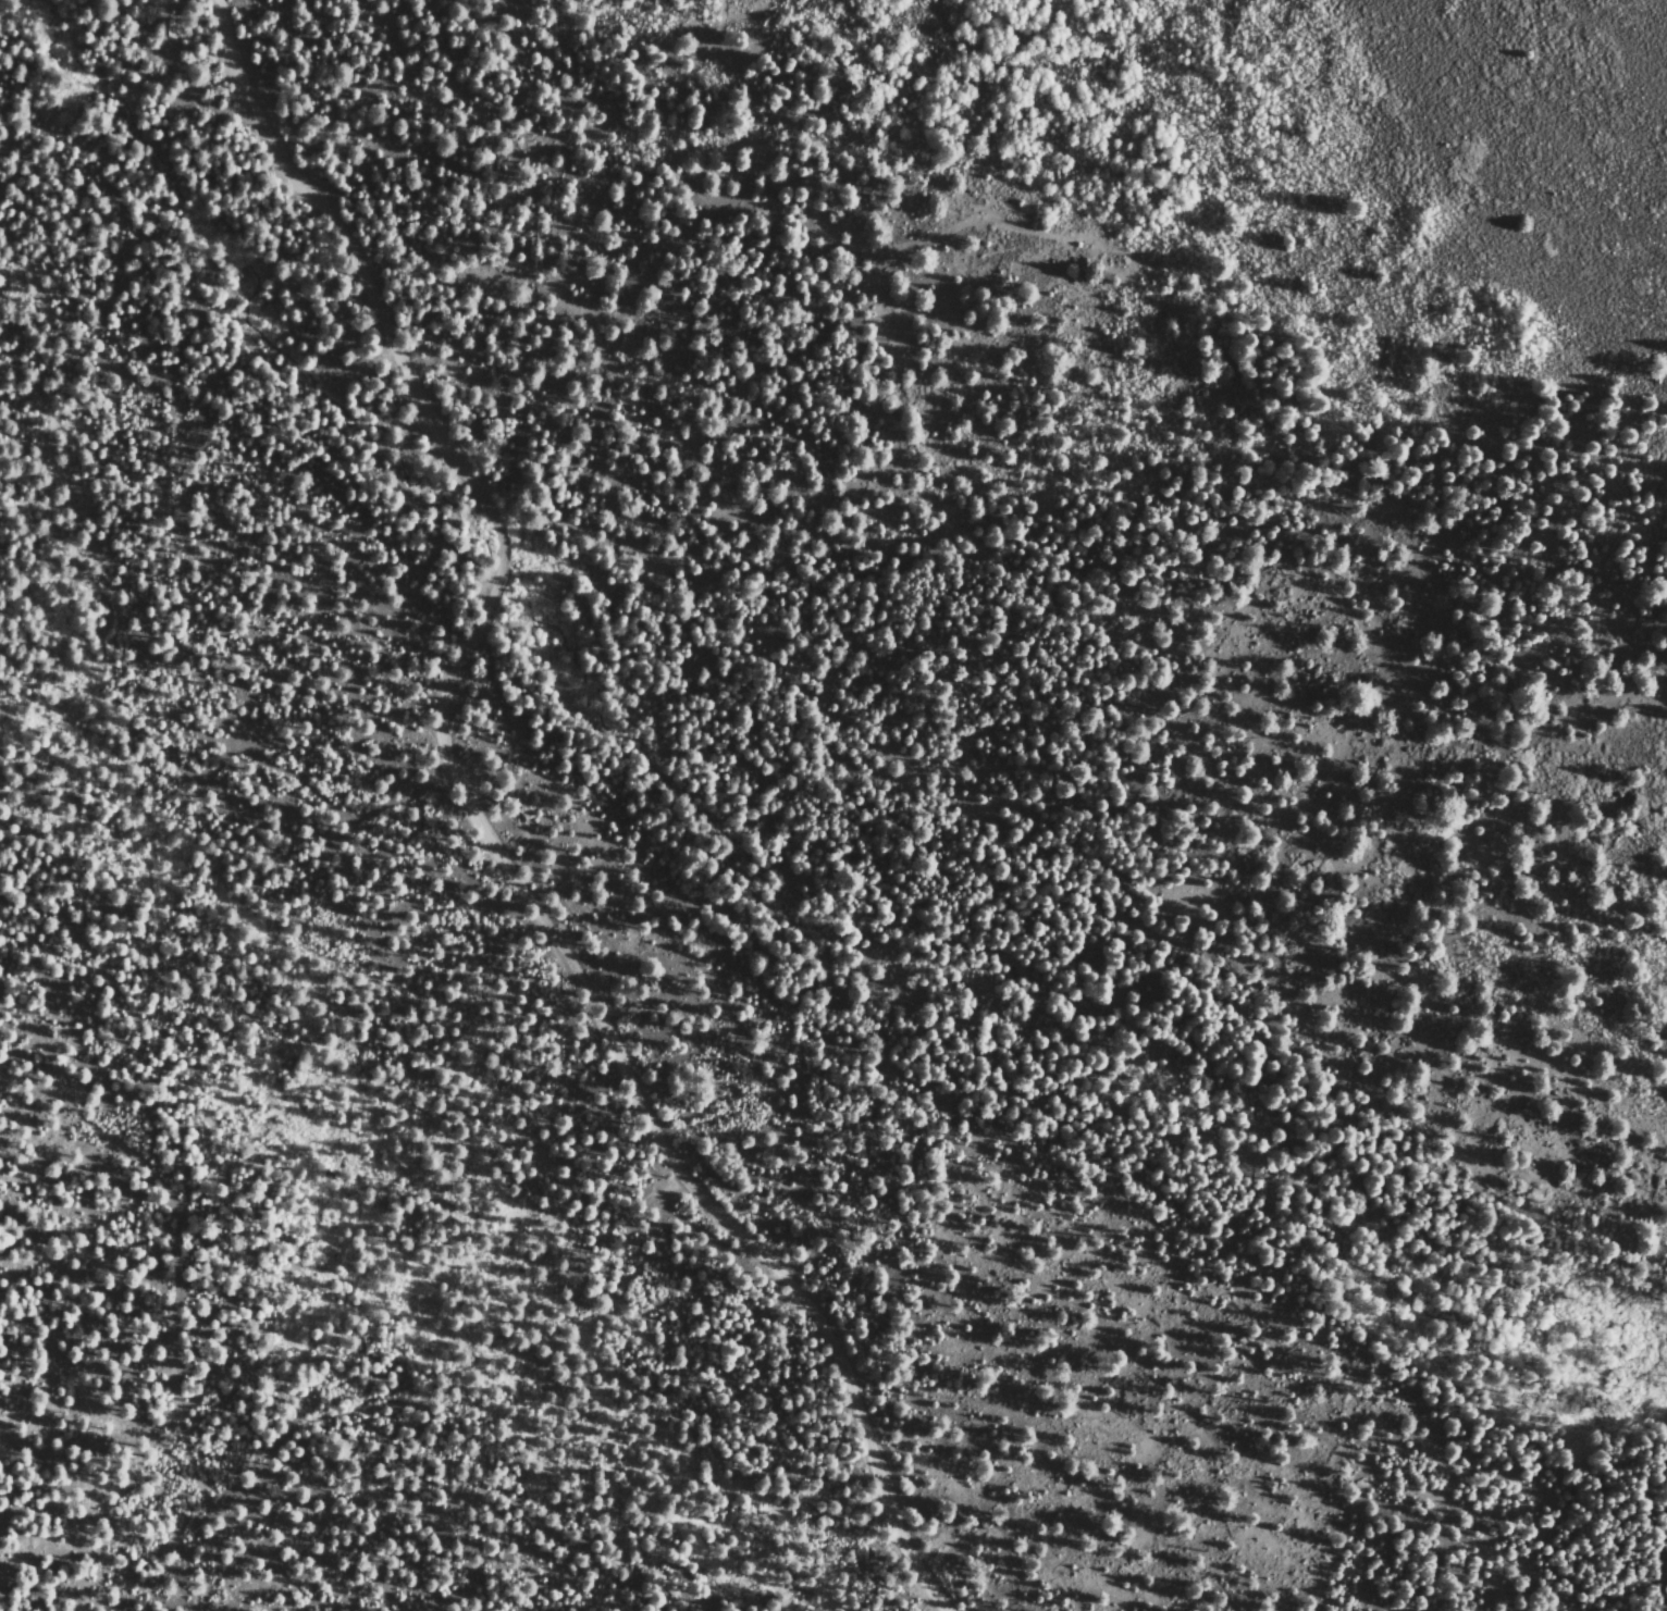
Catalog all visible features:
road: (711, 47)
road: (482, 829)
road: (169, 1285)

